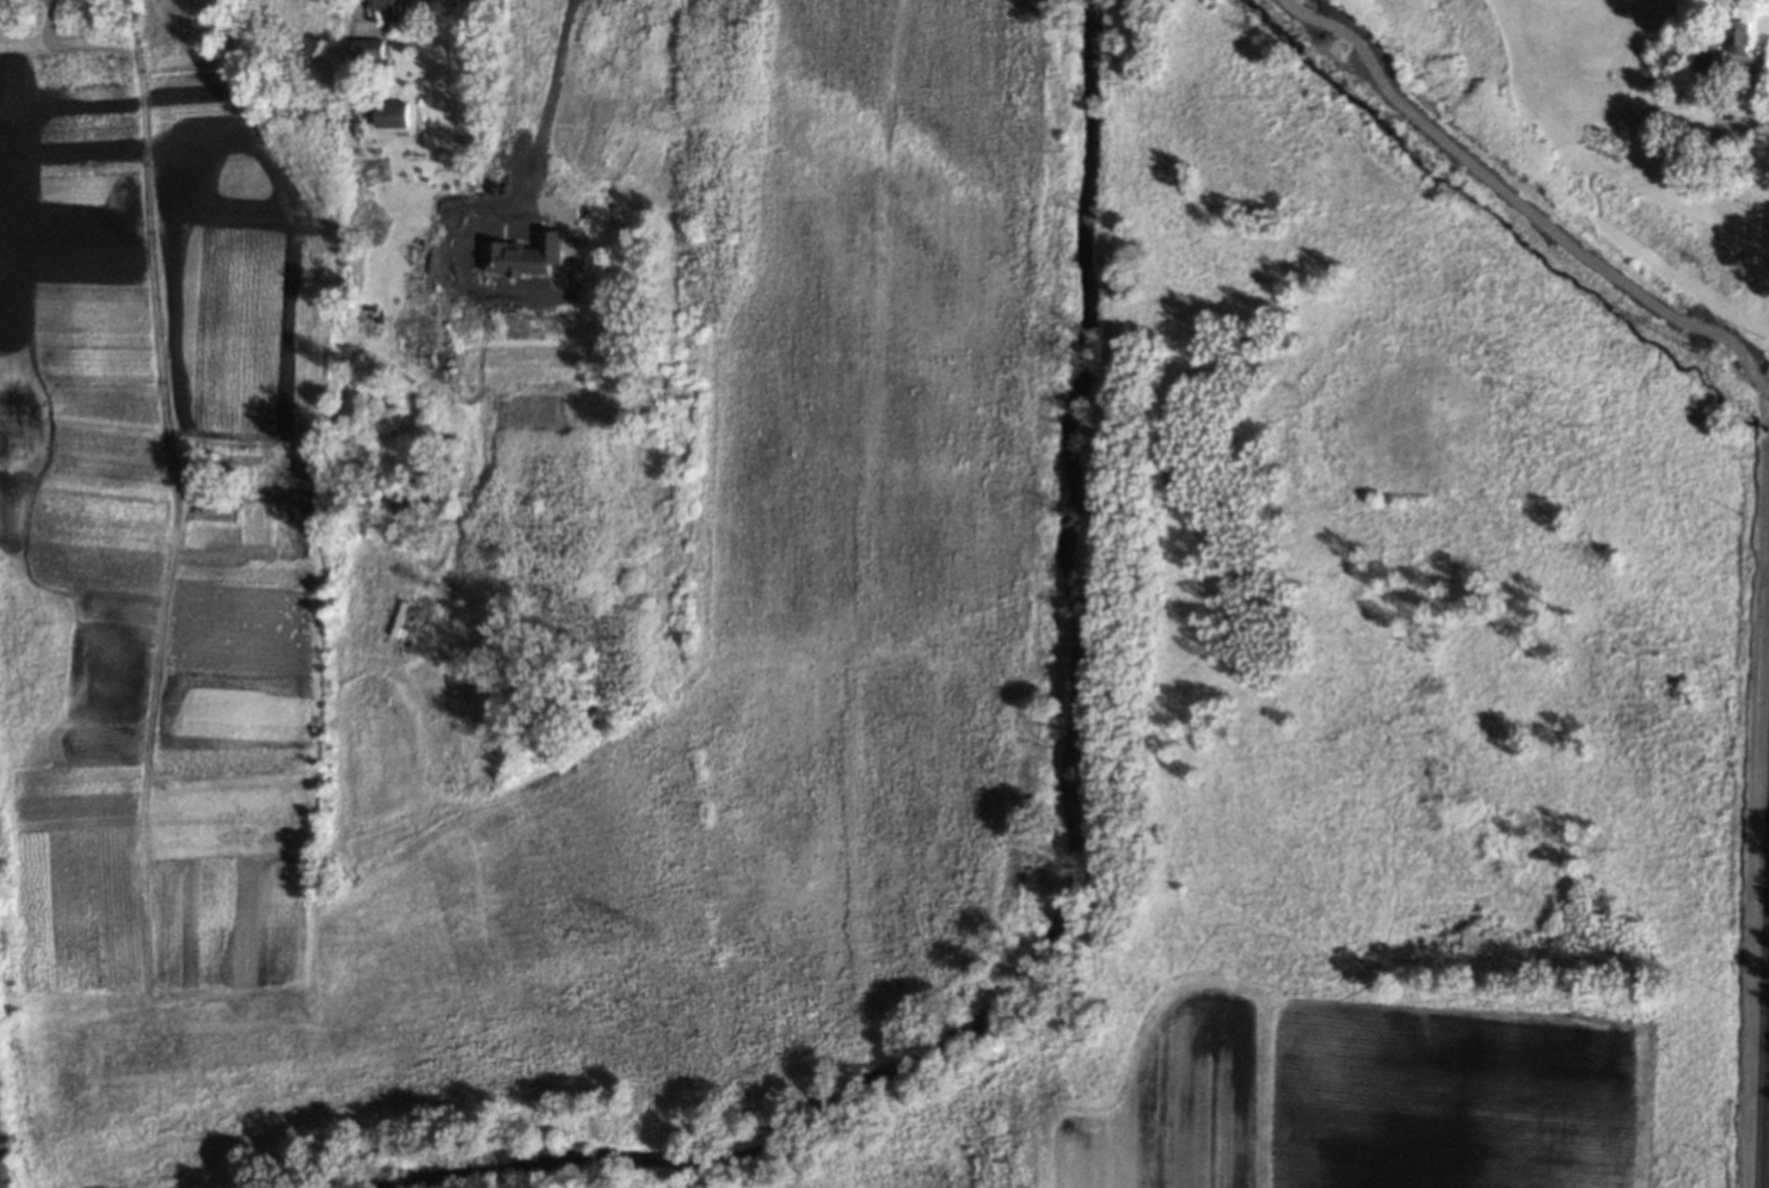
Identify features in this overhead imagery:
building: (387, 6)
road: (361, 12)
building: (1737, 26)
building: (1689, 37)
building: (367, 49)
building: (1710, 63)
building: (363, 74)
road: (546, 106)
building: (392, 116)
building: (1691, 140)
building: (524, 254)
park: (165, 478)
park: (1038, 670)
river: (1076, 831)
crop: (1531, 1090)
road: (1768, 1182)

